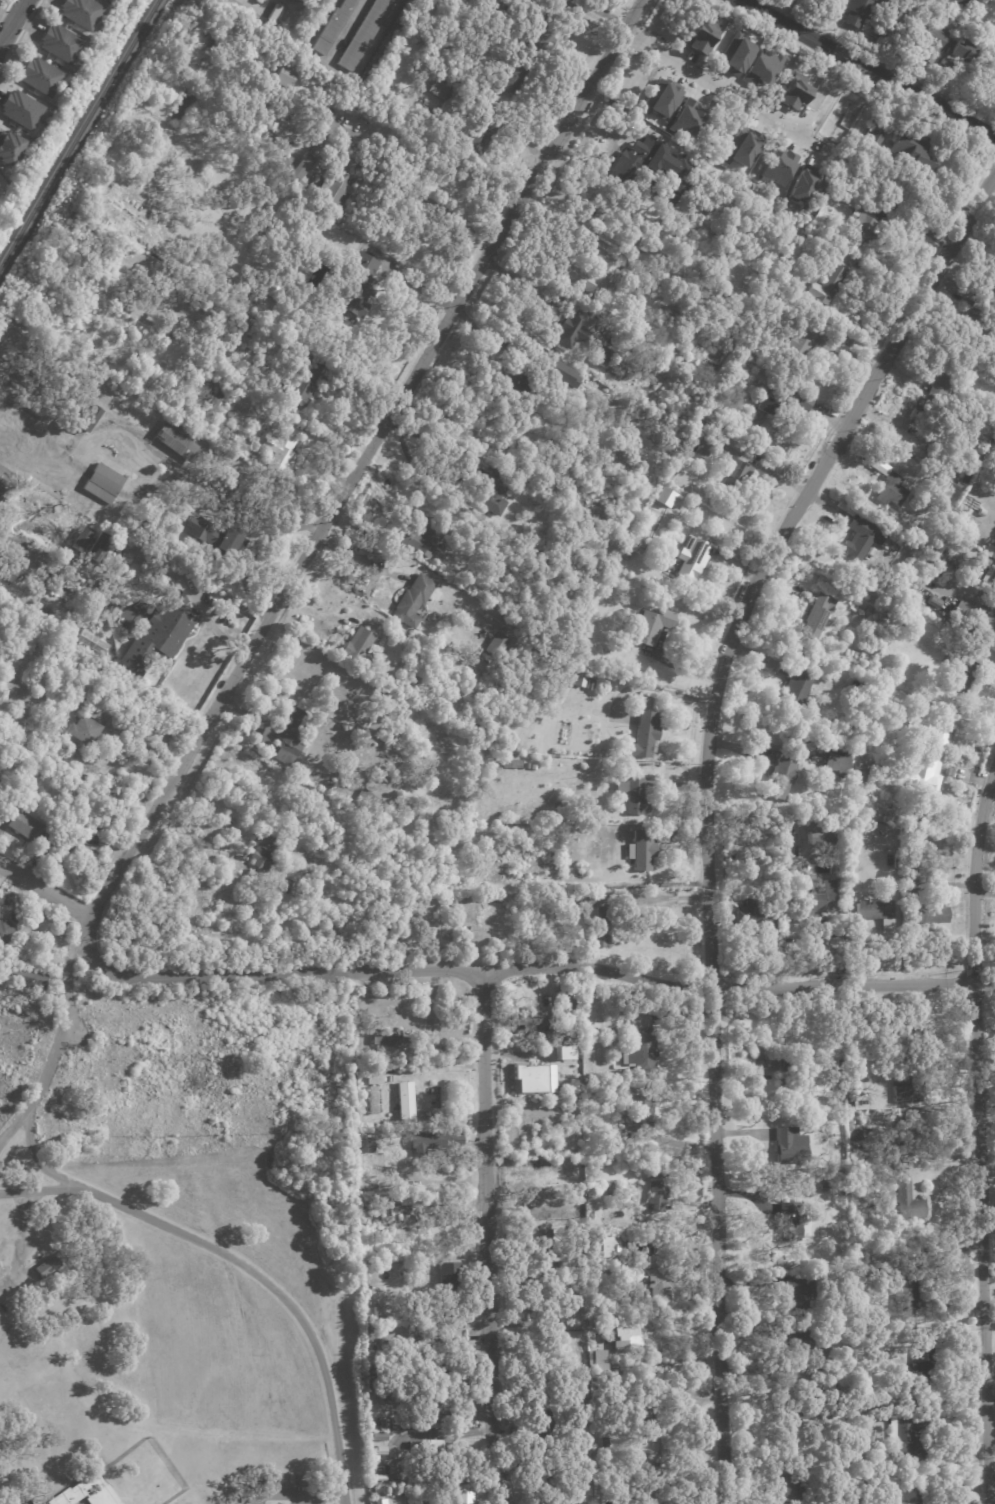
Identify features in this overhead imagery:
building: (259, 1)
building: (822, 2)
building: (953, 2)
road: (4, 7)
building: (490, 11)
building: (861, 12)
building: (80, 13)
building: (275, 13)
building: (956, 13)
building: (457, 19)
road: (13, 22)
building: (892, 23)
building: (545, 25)
building: (309, 26)
building: (332, 27)
building: (365, 33)
road: (20, 34)
building: (700, 36)
building: (928, 40)
building: (59, 44)
building: (383, 44)
building: (961, 50)
building: (734, 55)
building: (945, 66)
building: (762, 68)
road: (870, 70)
building: (515, 76)
building: (39, 77)
building: (281, 77)
building: (65, 80)
road: (713, 84)
building: (442, 85)
building: (792, 93)
building: (660, 99)
building: (20, 110)
building: (687, 119)
building: (480, 131)
railway: (79, 133)
building: (741, 147)
building: (9, 149)
building: (871, 149)
building: (911, 149)
building: (24, 151)
building: (279, 156)
building: (308, 163)
building: (778, 166)
building: (648, 168)
building: (806, 184)
building: (333, 192)
building: (841, 193)
road: (433, 202)
building: (575, 203)
building: (865, 227)
building: (642, 245)
building: (665, 258)
building: (994, 266)
building: (677, 269)
building: (592, 273)
building: (828, 283)
building: (267, 286)
building: (358, 286)
building: (235, 314)
building: (976, 319)
building: (570, 330)
building: (798, 343)
building: (601, 358)
building: (561, 375)
building: (301, 378)
building: (940, 383)
building: (516, 384)
building: (201, 391)
building: (214, 402)
building: (610, 404)
building: (926, 407)
building: (765, 416)
building: (89, 419)
building: (175, 440)
building: (994, 441)
building: (485, 450)
building: (702, 450)
building: (281, 455)
building: (929, 458)
road: (362, 459)
road: (191, 479)
building: (734, 479)
building: (964, 480)
building: (5, 483)
building: (103, 485)
building: (887, 486)
building: (233, 487)
building: (494, 495)
building: (982, 513)
road: (303, 526)
building: (151, 527)
building: (422, 536)
building: (921, 537)
building: (82, 538)
building: (218, 539)
building: (861, 541)
building: (635, 545)
building: (938, 548)
building: (103, 551)
building: (990, 553)
building: (623, 554)
road: (356, 556)
building: (691, 558)
building: (926, 561)
building: (986, 562)
building: (7, 573)
building: (989, 579)
building: (60, 580)
building: (620, 588)
building: (893, 600)
building: (491, 601)
building: (412, 602)
building: (934, 602)
building: (858, 604)
building: (109, 609)
building: (869, 611)
road: (204, 614)
building: (494, 616)
building: (631, 616)
building: (814, 616)
building: (975, 619)
building: (775, 620)
building: (878, 620)
building: (652, 626)
building: (900, 632)
building: (157, 636)
building: (94, 642)
building: (357, 646)
building: (783, 646)
building: (495, 647)
building: (960, 676)
building: (576, 679)
building: (590, 685)
building: (795, 685)
road: (656, 689)
building: (378, 693)
building: (898, 698)
building: (77, 702)
building: (644, 703)
building: (965, 723)
building: (85, 729)
building: (390, 730)
building: (643, 737)
building: (290, 739)
building: (935, 743)
building: (841, 751)
building: (74, 754)
building: (85, 759)
building: (507, 763)
building: (836, 767)
building: (864, 774)
building: (921, 777)
building: (83, 779)
building: (780, 779)
building: (632, 796)
building: (371, 802)
building: (908, 802)
road: (709, 804)
building: (21, 820)
building: (88, 827)
road: (186, 832)
building: (660, 836)
building: (819, 840)
building: (42, 845)
building: (263, 849)
building: (642, 851)
building: (911, 866)
building: (820, 869)
building: (583, 870)
building: (583, 875)
building: (250, 877)
road: (43, 890)
building: (586, 890)
building: (855, 894)
road: (663, 896)
building: (587, 901)
building: (816, 901)
building: (872, 911)
building: (927, 915)
building: (756, 918)
road: (84, 927)
building: (601, 929)
building: (5, 930)
building: (852, 932)
road: (529, 966)
building: (26, 977)
building: (584, 998)
building: (562, 1013)
building: (526, 1019)
building: (910, 1030)
building: (536, 1034)
building: (388, 1037)
building: (643, 1043)
building: (552, 1045)
building: (563, 1052)
building: (362, 1056)
building: (803, 1058)
building: (373, 1078)
building: (533, 1078)
building: (906, 1088)
building: (432, 1091)
building: (372, 1099)
building: (405, 1102)
building: (639, 1119)
building: (923, 1128)
building: (868, 1136)
road: (982, 1138)
building: (426, 1140)
building: (577, 1143)
building: (546, 1145)
building: (792, 1145)
building: (612, 1150)
building: (376, 1166)
building: (821, 1176)
building: (823, 1188)
building: (657, 1191)
road: (35, 1192)
building: (907, 1201)
building: (402, 1204)
building: (576, 1205)
building: (788, 1219)
building: (575, 1228)
road: (482, 1238)
building: (605, 1245)
road: (18, 1247)
building: (641, 1247)
building: (541, 1255)
building: (51, 1265)
building: (418, 1269)
road: (249, 1272)
building: (865, 1272)
building: (661, 1278)
road: (3, 1281)
building: (451, 1285)
building: (910, 1287)
building: (796, 1289)
building: (540, 1294)
building: (804, 1327)
building: (436, 1337)
building: (626, 1338)
building: (798, 1339)
building: (438, 1360)
building: (596, 1360)
building: (924, 1364)
building: (824, 1368)
building: (866, 1372)
building: (441, 1386)
building: (581, 1386)
building: (796, 1403)
building: (641, 1408)
building: (584, 1410)
building: (862, 1416)
building: (433, 1418)
building: (548, 1426)
building: (585, 1432)
building: (910, 1434)
building: (378, 1438)
building: (598, 1442)
building: (579, 1454)
building: (432, 1455)
building: (652, 1456)
building: (863, 1458)
building: (379, 1466)
building: (915, 1480)
building: (797, 1485)
building: (552, 1488)
parking lot: (292, 1489)
building: (656, 1489)
building: (87, 1492)
building: (462, 1495)
building: (913, 1495)
building: (595, 1497)
building: (378, 1501)

